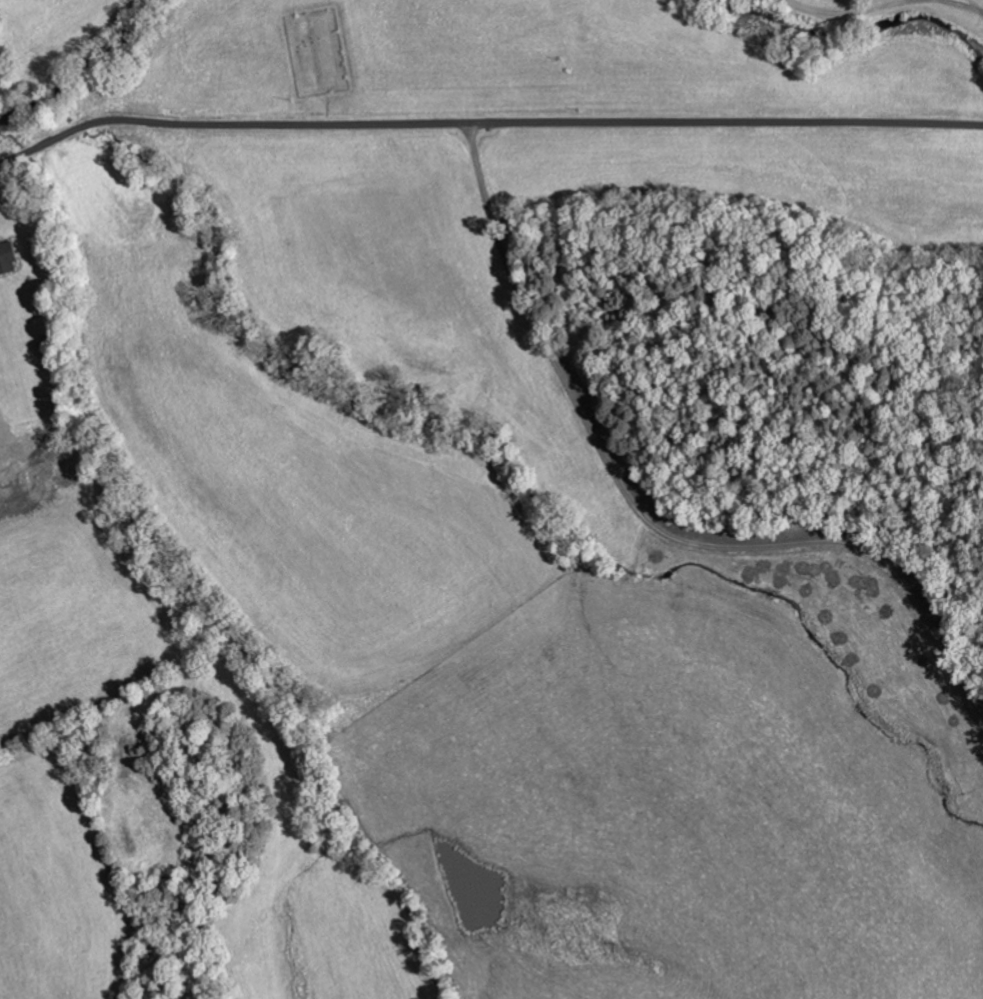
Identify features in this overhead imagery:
road: (881, 7)
park: (317, 51)
road: (487, 123)

